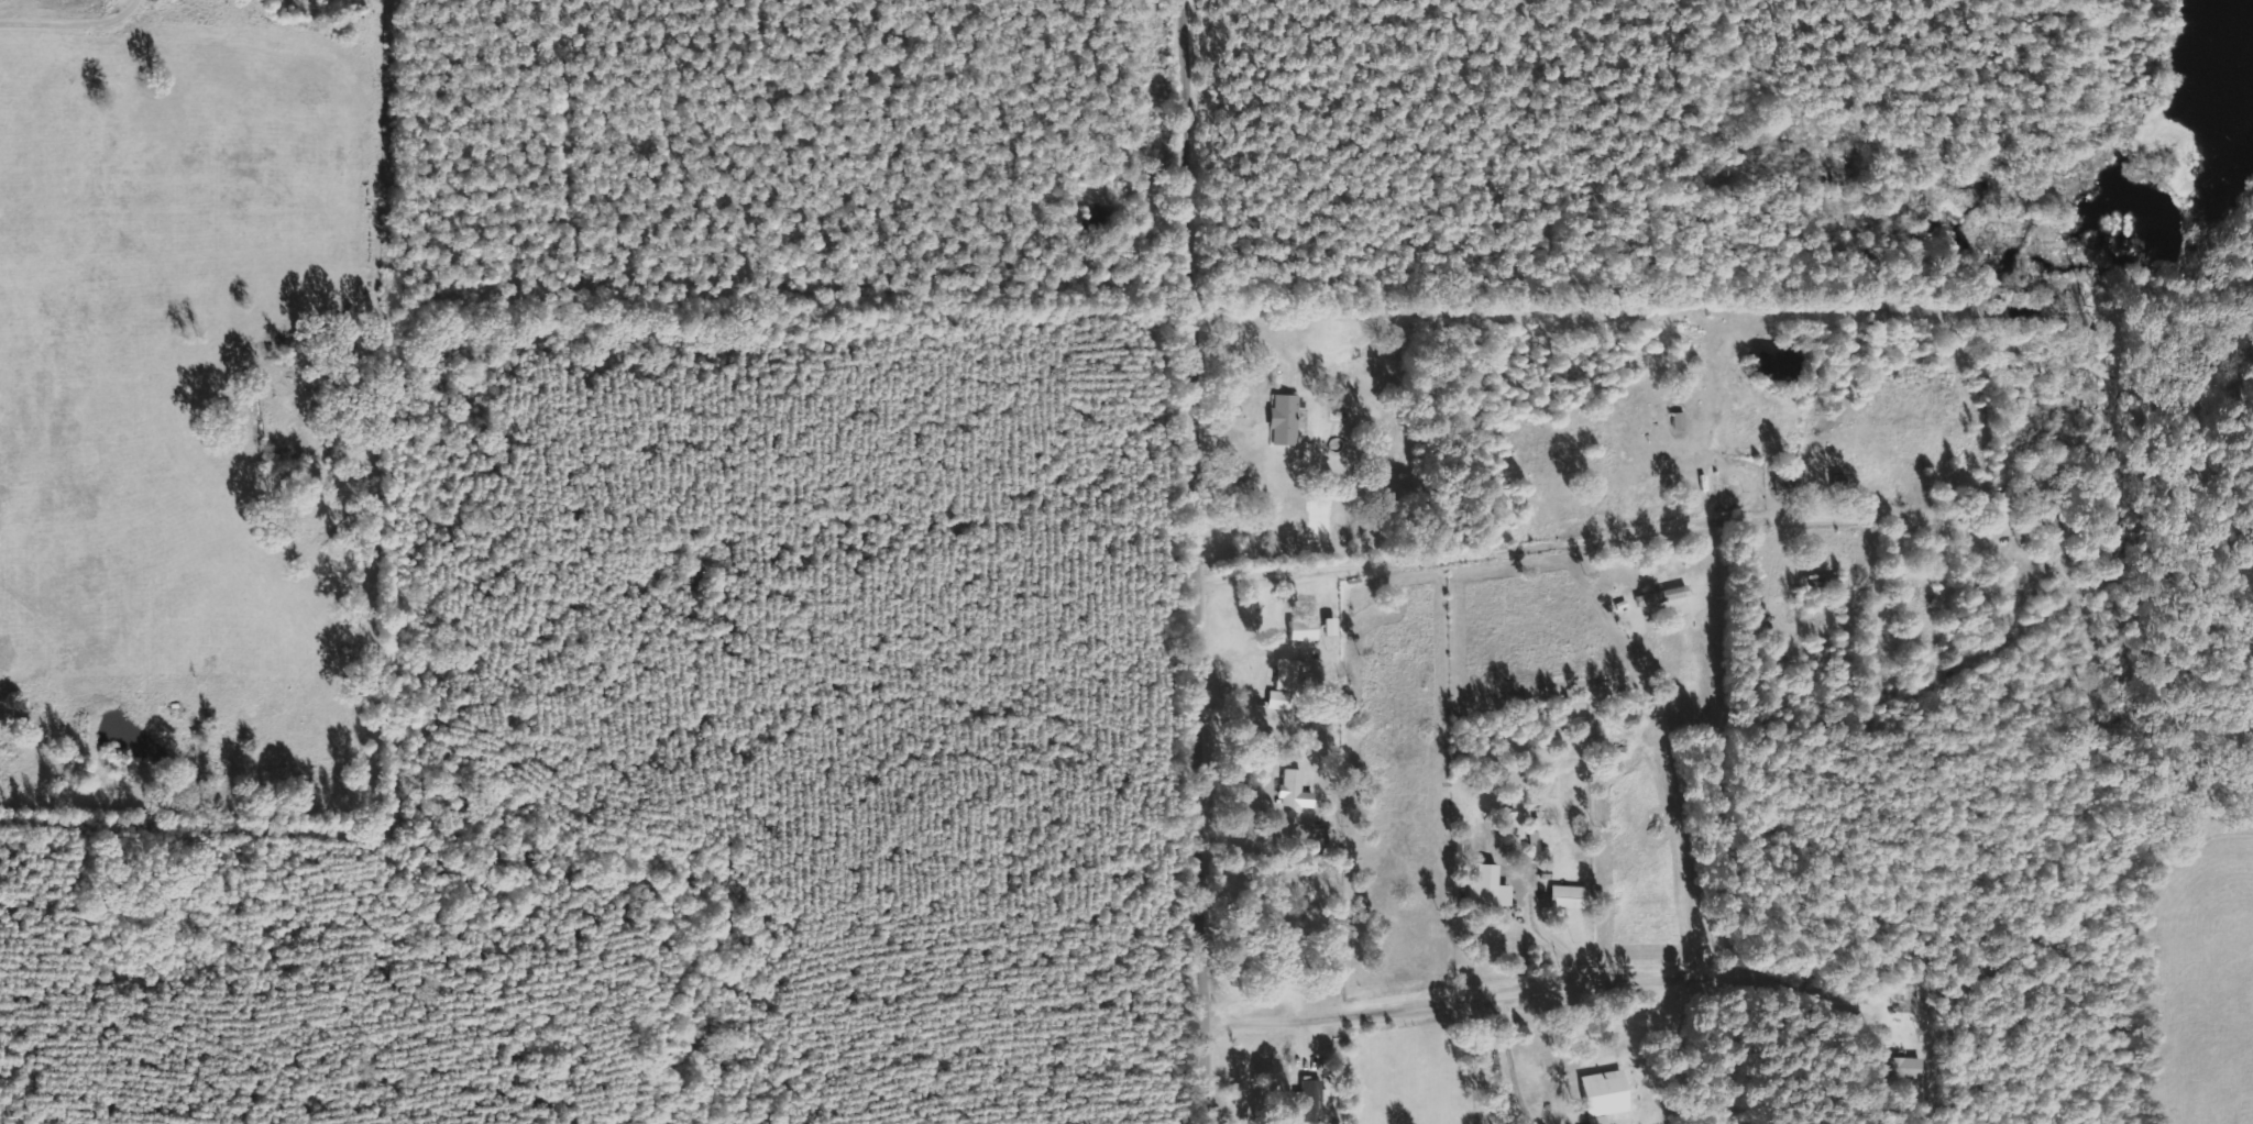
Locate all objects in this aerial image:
building: (1282, 418)
road: (1209, 561)
building: (1659, 594)
building: (1327, 626)
building: (1299, 629)
building: (1281, 685)
building: (1292, 790)
road: (1733, 816)
building: (1482, 871)
building: (1565, 896)
building: (1902, 1067)
building: (1600, 1095)
building: (1308, 1100)

